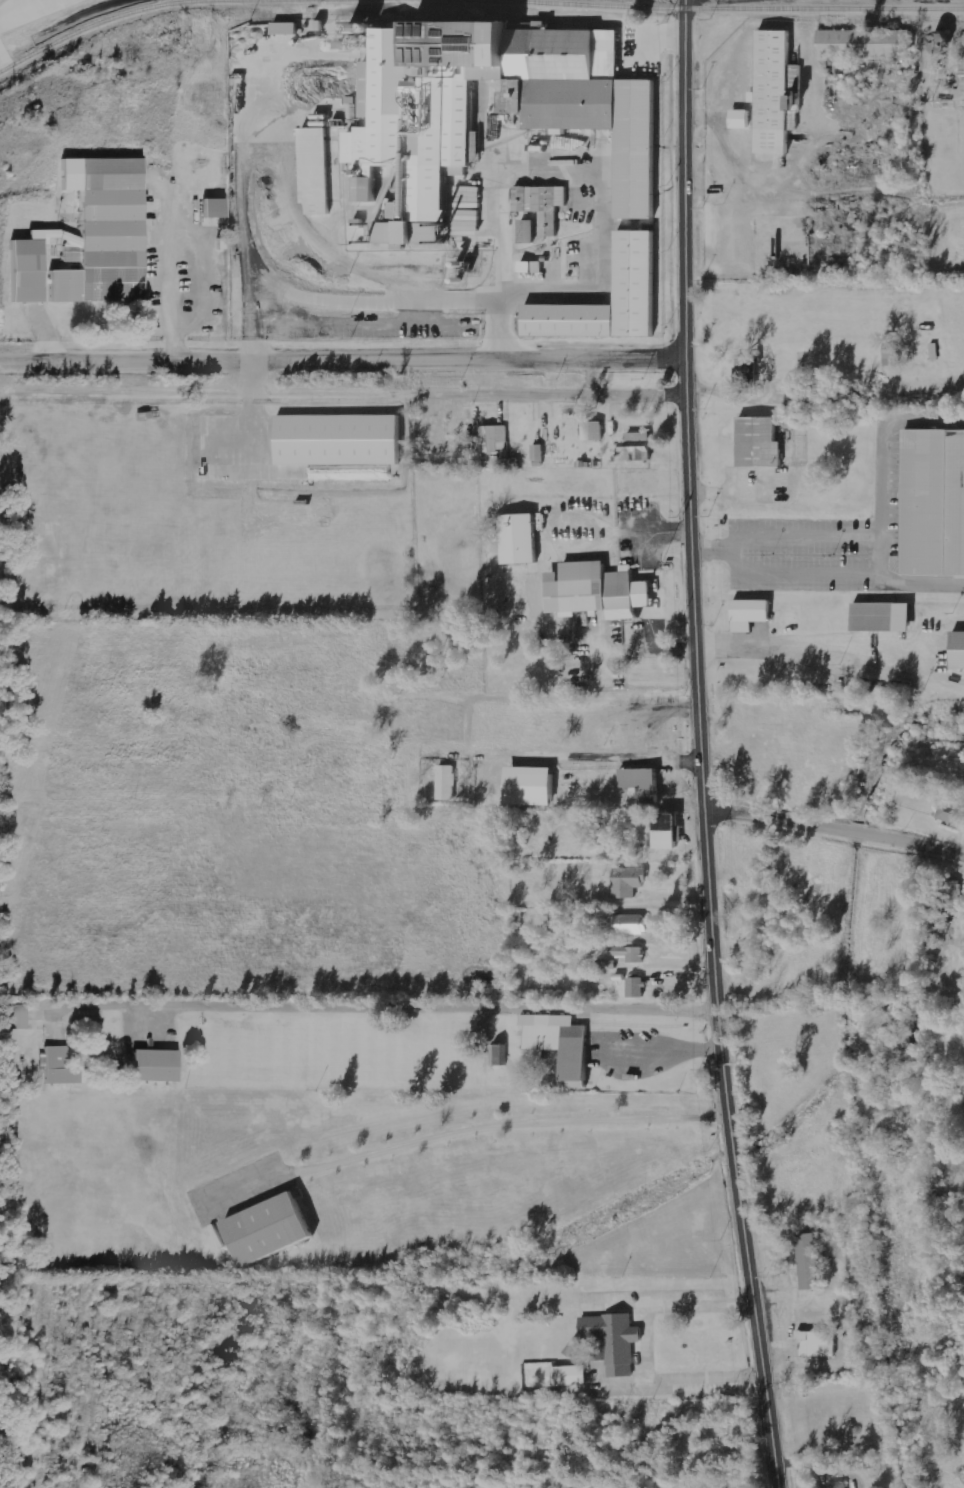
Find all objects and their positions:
road: (9, 5)
railway: (144, 10)
railway: (701, 11)
building: (289, 29)
building: (948, 44)
building: (860, 45)
building: (768, 93)
building: (743, 119)
building: (404, 146)
building: (319, 170)
building: (370, 190)
building: (212, 206)
building: (541, 210)
building: (100, 233)
building: (633, 266)
building: (535, 267)
building: (25, 270)
building: (895, 354)
road: (342, 355)
building: (749, 370)
building: (798, 398)
building: (596, 431)
building: (341, 440)
building: (493, 442)
building: (753, 443)
building: (640, 445)
building: (540, 455)
building: (930, 504)
building: (514, 540)
building: (592, 591)
building: (753, 613)
building: (877, 619)
building: (955, 652)
road: (700, 746)
building: (448, 782)
building: (645, 784)
building: (535, 786)
building: (952, 813)
road: (834, 826)
building: (629, 882)
building: (631, 924)
building: (630, 953)
building: (606, 964)
building: (637, 987)
road: (389, 1003)
building: (556, 1048)
building: (500, 1055)
building: (158, 1066)
building: (62, 1068)
road: (510, 1122)
building: (263, 1230)
building: (812, 1261)
building: (814, 1326)
building: (607, 1341)
building: (818, 1344)
building: (563, 1377)
building: (838, 1485)

